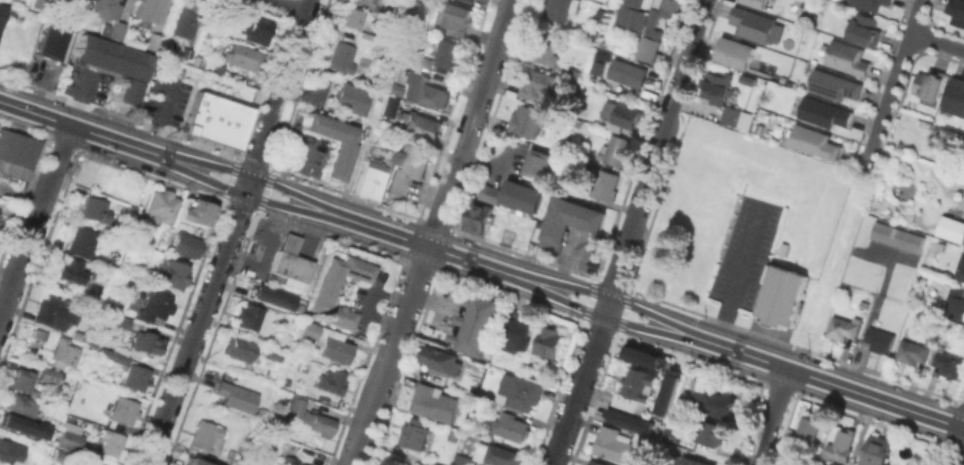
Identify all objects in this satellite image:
building: (471, 0)
building: (367, 1)
building: (376, 1)
building: (756, 3)
building: (41, 4)
building: (668, 4)
building: (870, 4)
road: (287, 7)
building: (150, 9)
building: (558, 9)
building: (957, 12)
building: (628, 13)
building: (2, 14)
building: (110, 17)
building: (459, 17)
building: (651, 17)
building: (354, 18)
building: (188, 19)
building: (753, 24)
road: (696, 27)
building: (257, 29)
building: (866, 30)
building: (365, 38)
building: (53, 40)
building: (154, 41)
road: (936, 42)
building: (646, 43)
building: (545, 48)
road: (395, 49)
building: (449, 53)
building: (736, 54)
building: (244, 56)
building: (342, 56)
building: (425, 58)
building: (848, 59)
building: (119, 69)
building: (628, 74)
road: (485, 81)
road: (891, 84)
building: (542, 85)
building: (717, 85)
building: (930, 85)
building: (835, 86)
road: (675, 89)
building: (423, 93)
building: (349, 97)
parking lot: (165, 98)
building: (955, 98)
building: (388, 108)
road: (160, 114)
building: (619, 114)
building: (732, 114)
building: (825, 114)
building: (215, 118)
building: (527, 119)
building: (421, 124)
building: (382, 140)
building: (816, 143)
building: (615, 149)
building: (18, 153)
building: (337, 158)
road: (359, 158)
building: (538, 162)
building: (407, 168)
building: (370, 180)
building: (606, 184)
building: (514, 194)
building: (162, 205)
building: (95, 210)
building: (183, 212)
building: (205, 212)
road: (282, 216)
building: (479, 216)
road: (35, 222)
building: (572, 225)
building: (952, 228)
road: (232, 233)
road: (310, 236)
building: (895, 236)
building: (83, 241)
building: (185, 245)
building: (937, 247)
road: (268, 249)
parking lot: (748, 249)
building: (292, 259)
road: (482, 264)
building: (960, 268)
building: (68, 269)
building: (170, 273)
road: (740, 274)
building: (328, 293)
building: (779, 294)
road: (610, 295)
building: (274, 300)
road: (370, 300)
building: (954, 300)
building: (864, 304)
building: (155, 306)
building: (58, 311)
road: (404, 313)
building: (248, 314)
building: (122, 320)
building: (480, 327)
building: (844, 327)
building: (309, 331)
building: (516, 333)
building: (85, 335)
building: (40, 338)
building: (880, 339)
building: (549, 340)
building: (147, 342)
building: (238, 347)
building: (337, 349)
building: (64, 351)
building: (912, 351)
building: (116, 355)
building: (640, 355)
building: (443, 359)
building: (948, 363)
building: (57, 375)
building: (136, 377)
building: (24, 379)
building: (333, 381)
building: (631, 388)
building: (521, 390)
building: (666, 390)
building: (238, 395)
building: (428, 398)
building: (717, 401)
building: (20, 406)
building: (125, 410)
building: (263, 413)
building: (310, 415)
road: (770, 417)
building: (627, 419)
building: (22, 426)
building: (512, 426)
building: (810, 426)
building: (711, 432)
building: (414, 433)
building: (207, 435)
building: (673, 436)
building: (71, 440)
building: (611, 443)
building: (112, 444)
building: (842, 445)
building: (667, 447)
road: (957, 447)
building: (7, 450)
building: (878, 450)
building: (503, 455)
building: (463, 459)
building: (289, 460)
building: (694, 461)
building: (597, 462)
building: (85, 463)
building: (93, 463)
building: (194, 463)
building: (438, 463)
building: (301, 464)
building: (313, 464)
building: (434, 464)

